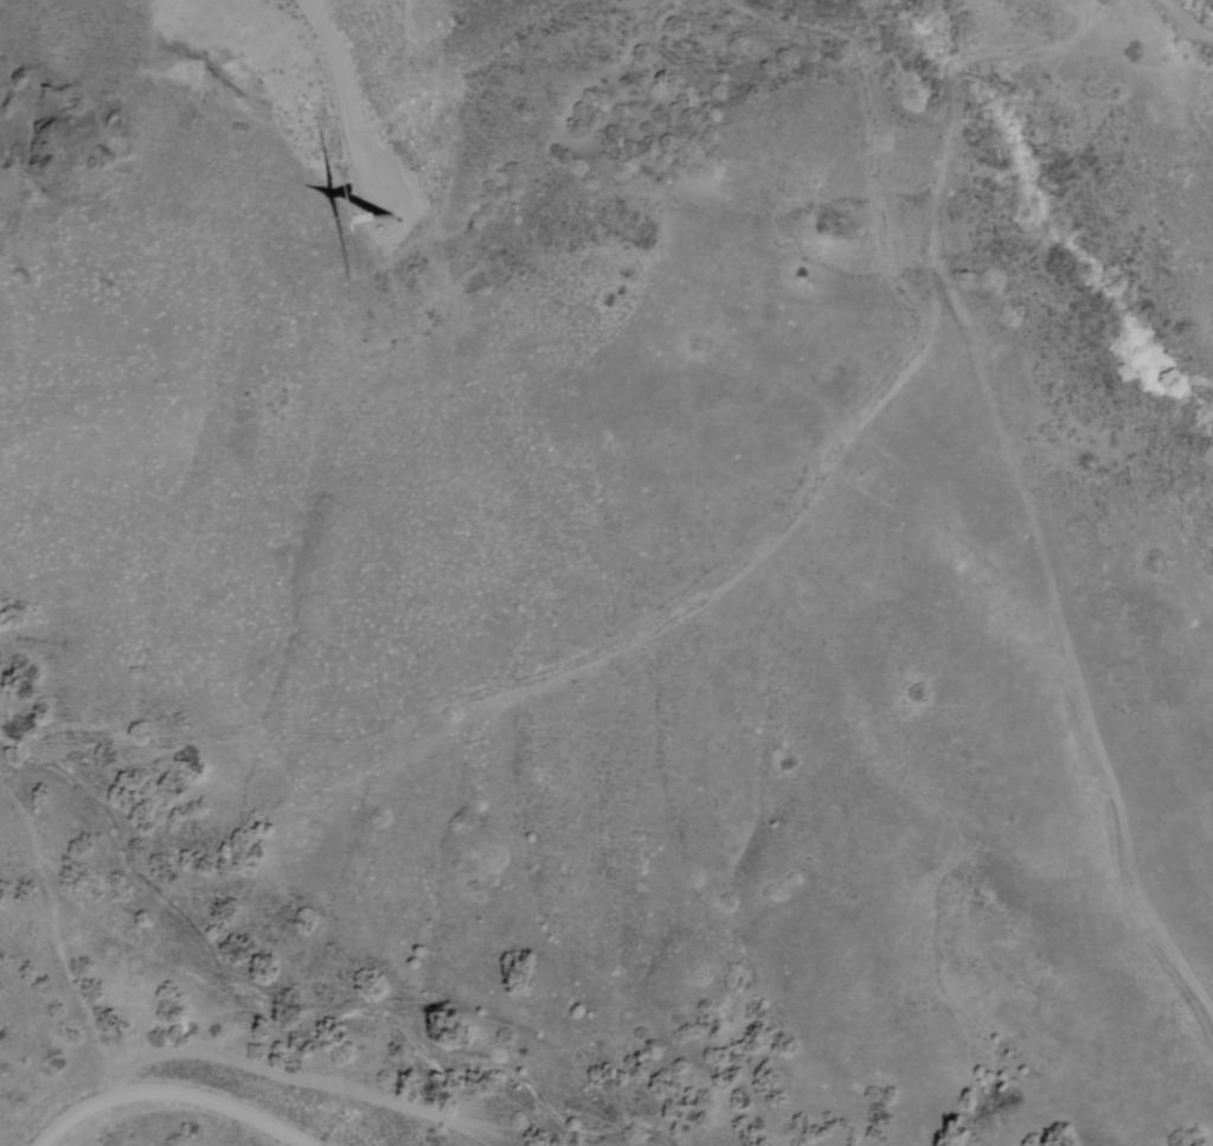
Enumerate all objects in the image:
road: (1186, 19)
wind turbine: (373, 194)
road: (47, 935)
road: (275, 1071)
road: (635, 1110)
road: (1196, 1138)

